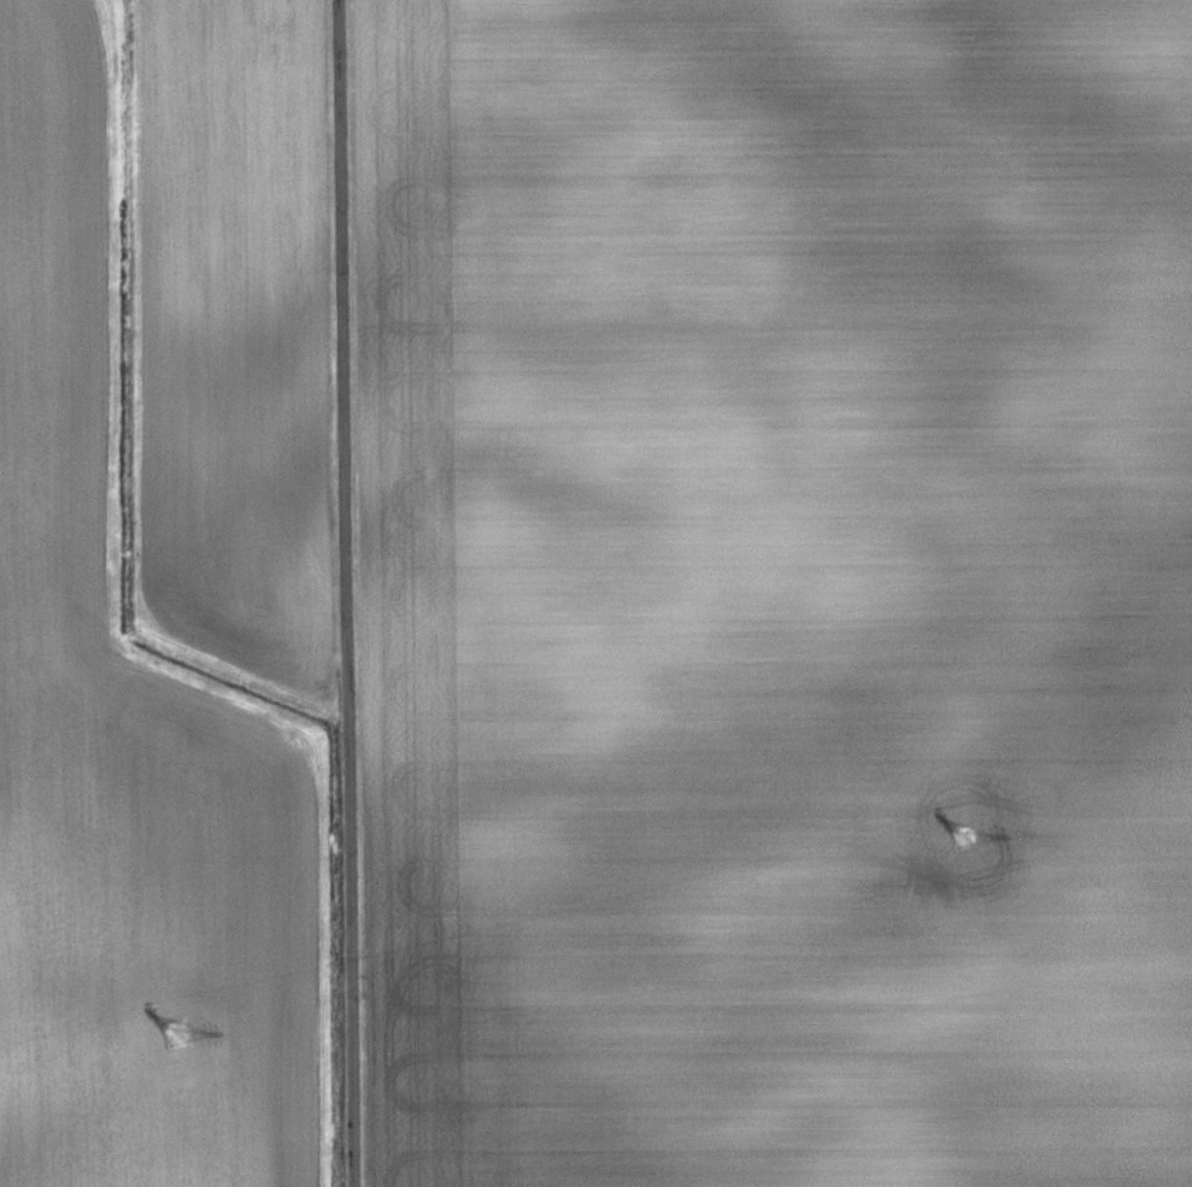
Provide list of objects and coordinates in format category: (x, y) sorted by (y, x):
road: (343, 593)
power tower: (955, 838)

